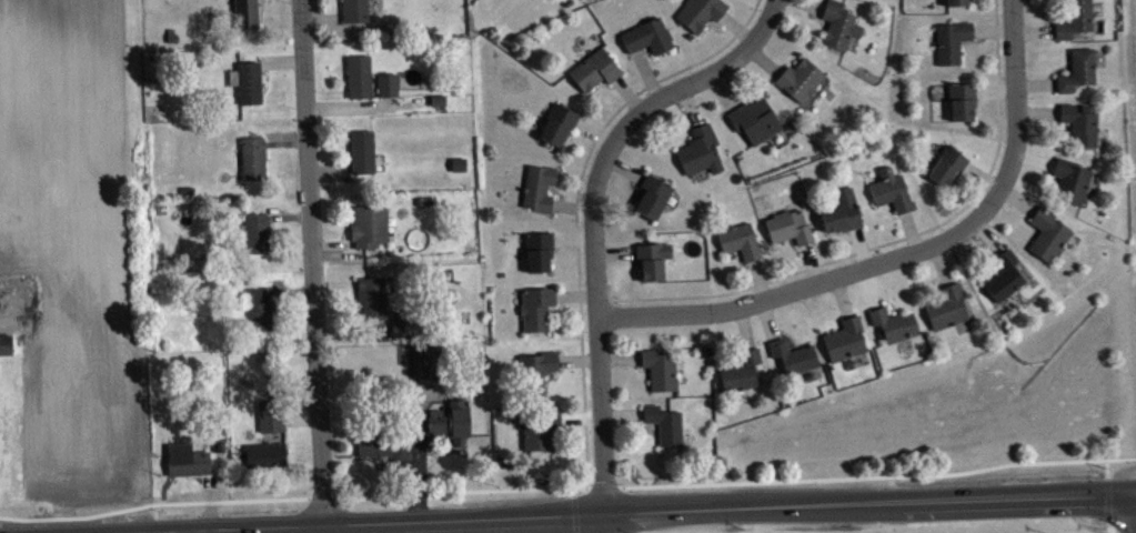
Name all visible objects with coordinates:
road: (814, 3)
building: (961, 4)
building: (353, 10)
building: (245, 12)
building: (700, 12)
road: (815, 16)
building: (1079, 21)
road: (716, 22)
building: (838, 24)
road: (736, 26)
building: (647, 36)
building: (955, 44)
road: (644, 49)
road: (764, 58)
building: (594, 69)
road: (646, 72)
building: (359, 74)
building: (1082, 74)
building: (800, 78)
building: (247, 80)
building: (386, 82)
road: (607, 84)
road: (724, 88)
road: (627, 92)
road: (690, 104)
building: (965, 105)
road: (1016, 105)
building: (754, 119)
building: (557, 123)
road: (687, 124)
building: (1084, 128)
road: (593, 131)
road: (576, 132)
building: (700, 149)
building: (361, 150)
building: (252, 157)
road: (623, 167)
building: (462, 168)
building: (951, 170)
road: (629, 182)
building: (1075, 184)
building: (537, 187)
building: (892, 190)
road: (557, 191)
building: (652, 194)
road: (576, 204)
road: (571, 207)
building: (842, 211)
road: (593, 213)
road: (893, 214)
building: (368, 224)
building: (788, 225)
road: (911, 230)
building: (255, 232)
road: (848, 234)
road: (988, 234)
building: (1052, 238)
road: (573, 239)
building: (740, 240)
road: (796, 245)
road: (861, 245)
road: (874, 245)
road: (559, 248)
building: (539, 249)
road: (614, 250)
road: (989, 257)
road: (631, 258)
building: (652, 258)
crop: (74, 259)
road: (312, 261)
road: (741, 262)
road: (811, 262)
road: (941, 263)
building: (1005, 275)
road: (758, 278)
road: (939, 285)
road: (800, 286)
road: (869, 286)
road: (296, 291)
road: (575, 293)
building: (371, 295)
road: (842, 295)
road: (887, 300)
road: (557, 304)
building: (535, 305)
building: (259, 306)
building: (946, 306)
road: (838, 315)
road: (767, 318)
building: (894, 323)
road: (744, 325)
building: (406, 330)
road: (787, 331)
building: (845, 338)
building: (4, 343)
road: (736, 349)
building: (793, 354)
road: (619, 356)
road: (577, 359)
building: (429, 361)
road: (637, 366)
building: (536, 368)
building: (659, 368)
building: (742, 370)
road: (559, 371)
building: (0, 374)
road: (301, 412)
road: (622, 413)
building: (270, 414)
road: (580, 415)
building: (450, 420)
building: (664, 423)
road: (642, 425)
building: (539, 426)
building: (384, 444)
building: (219, 445)
road: (416, 451)
building: (264, 453)
building: (187, 459)
road: (1106, 467)
road: (878, 474)
road: (603, 486)
road: (461, 490)
road: (573, 490)
road: (323, 496)
road: (1107, 500)
road: (210, 501)
road: (152, 503)
road: (605, 511)
road: (574, 513)
road: (596, 522)
road: (612, 522)
road: (1108, 527)
road: (183, 531)

